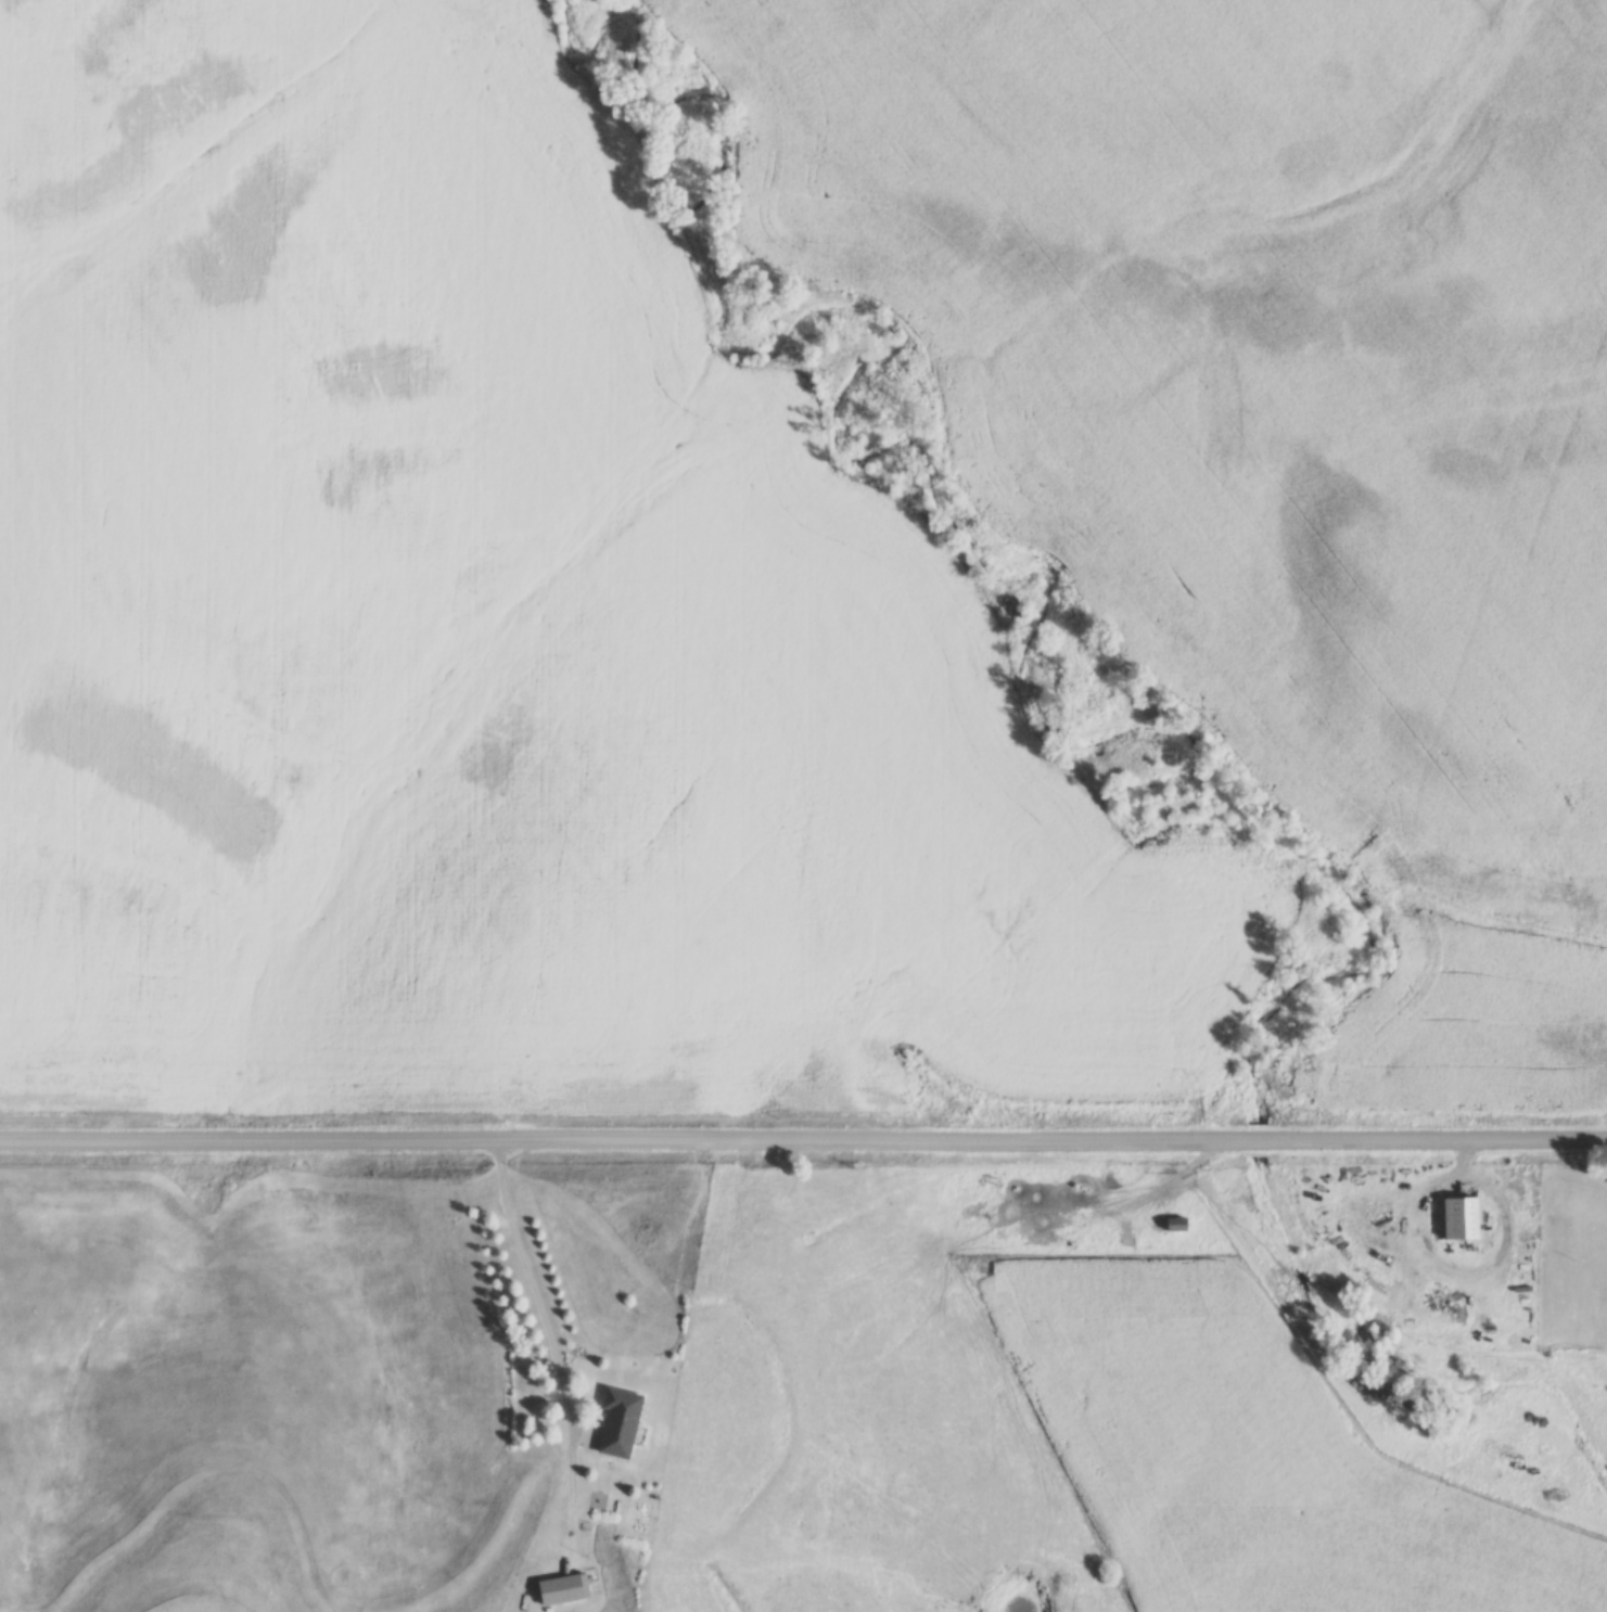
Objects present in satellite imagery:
road: (803, 1140)
building: (1461, 1216)
road: (533, 1291)
building: (618, 1419)
building: (561, 1586)

